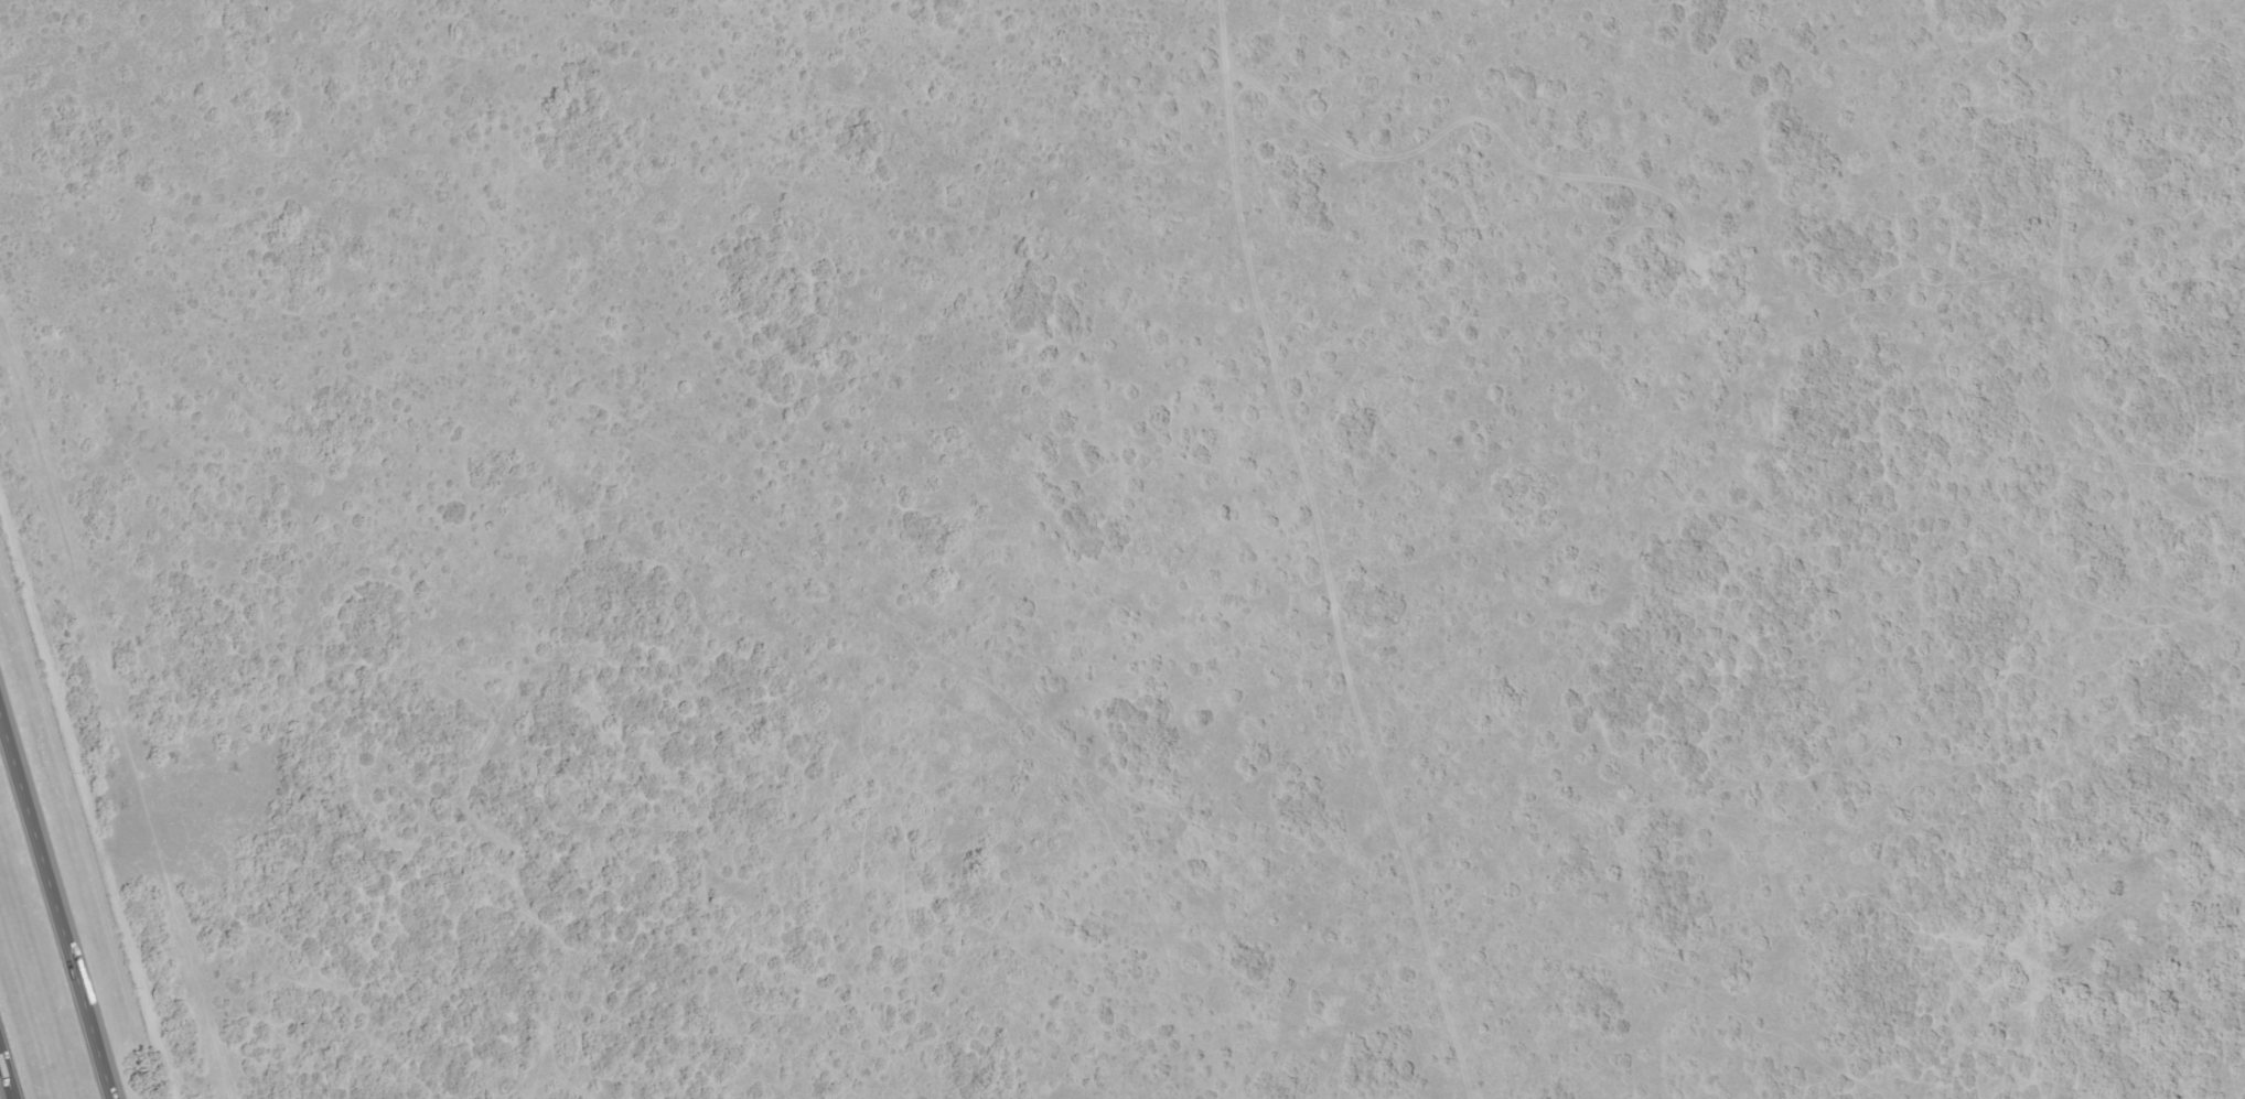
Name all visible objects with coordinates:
road: (58, 898)
road: (9, 1067)

